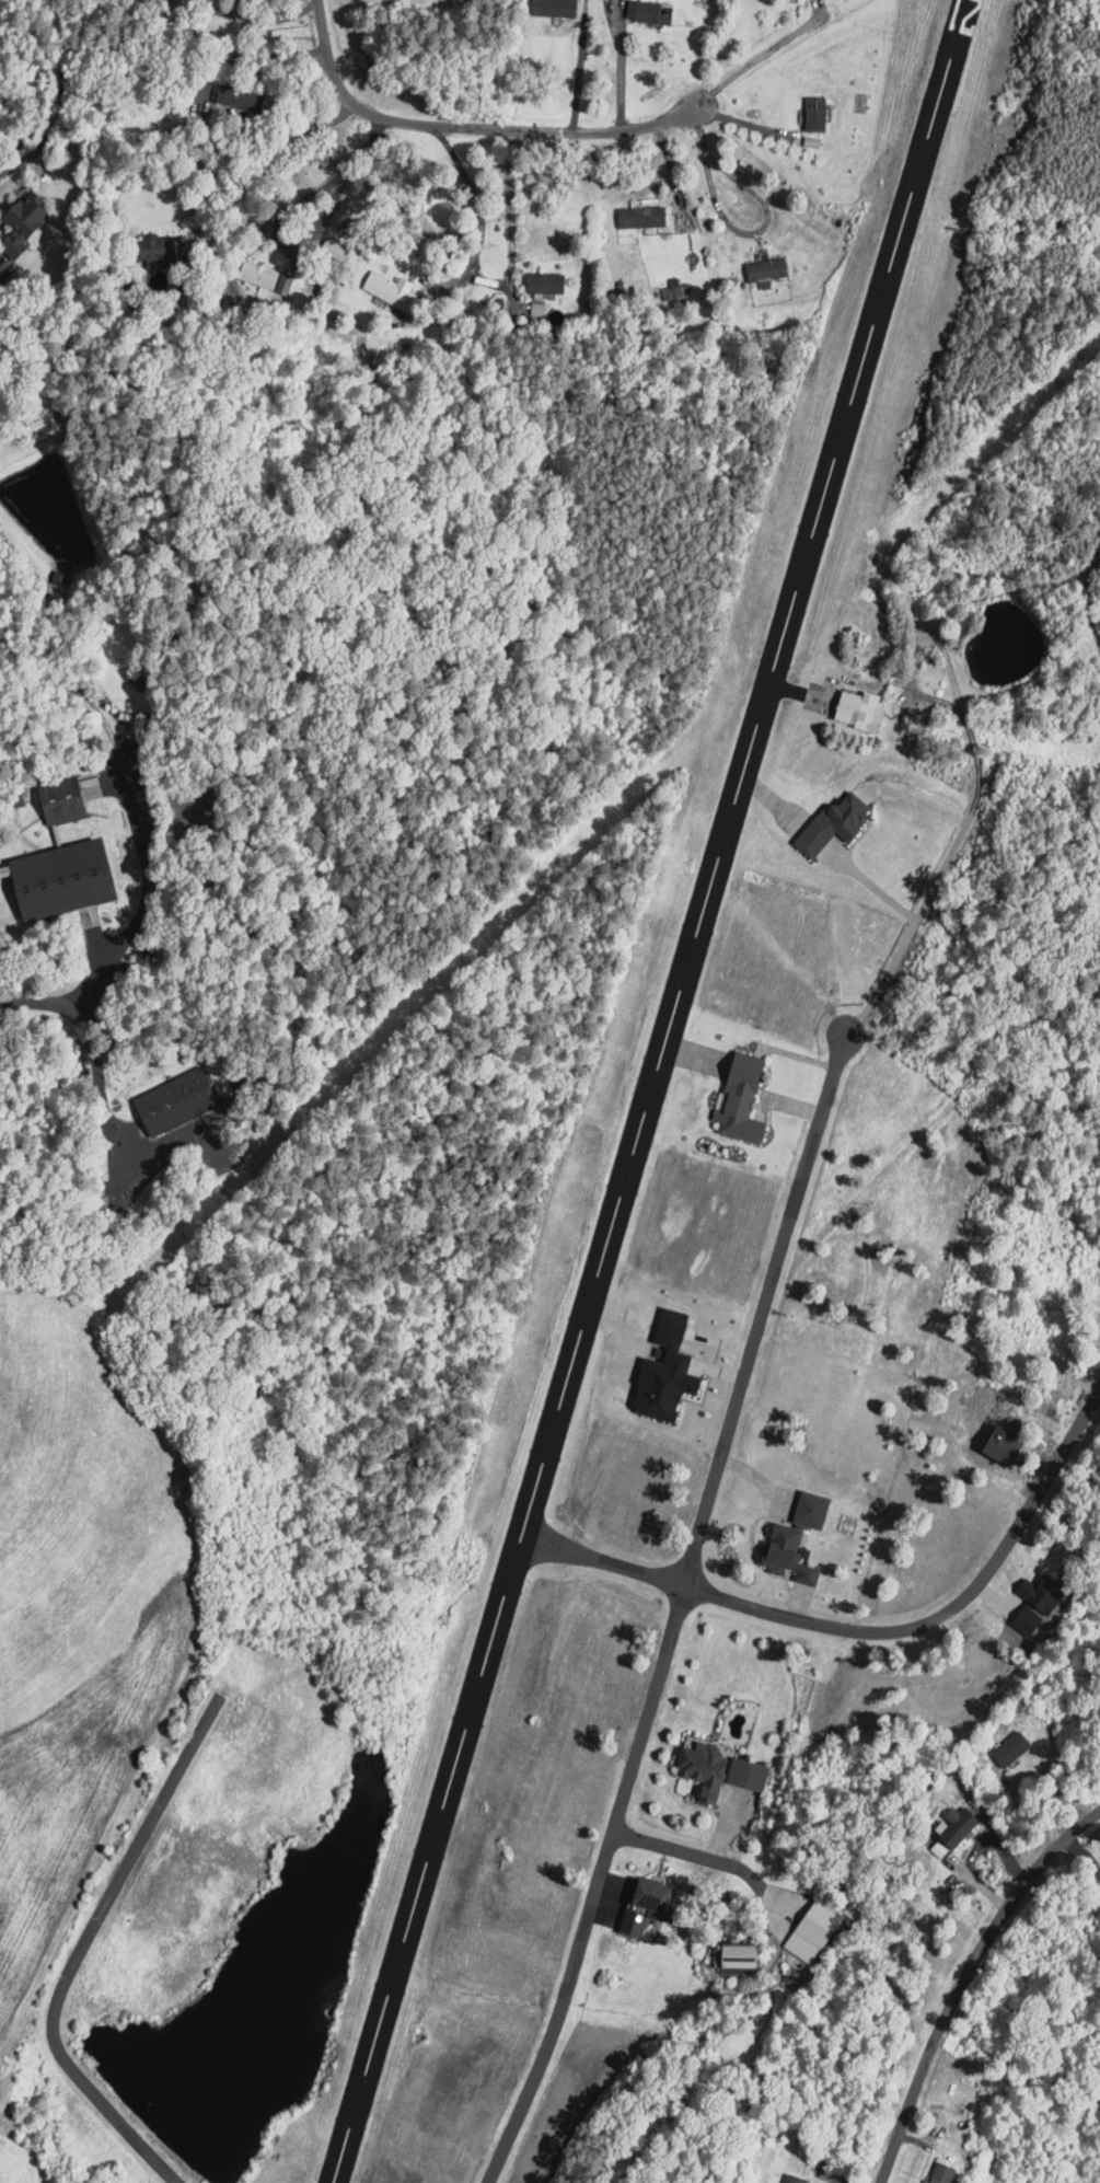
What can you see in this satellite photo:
building: (558, 8)
building: (653, 11)
road: (762, 56)
road: (621, 67)
road: (580, 70)
building: (233, 94)
road: (51, 97)
building: (819, 113)
road: (471, 126)
road: (271, 166)
road: (339, 180)
road: (511, 209)
building: (647, 216)
road: (736, 232)
road: (470, 234)
building: (769, 268)
building: (263, 274)
building: (548, 282)
building: (393, 289)
building: (672, 290)
road: (985, 591)
road: (1080, 609)
building: (862, 709)
road: (972, 739)
building: (73, 792)
building: (838, 822)
building: (73, 870)
road: (934, 883)
road: (872, 886)
road: (125, 928)
road: (100, 934)
airport runway: (653, 1091)
building: (181, 1098)
building: (746, 1098)
road: (106, 1121)
parking lot: (141, 1185)
building: (671, 1368)
building: (1008, 1445)
building: (815, 1509)
building: (795, 1552)
building: (1045, 1593)
road: (675, 1612)
building: (1030, 1619)
road: (875, 1630)
building: (1016, 1748)
building: (722, 1770)
building: (963, 1825)
building: (940, 1849)
road: (694, 1853)
building: (649, 1908)
building: (813, 1931)
road: (79, 1952)
building: (745, 1955)
road: (981, 1987)
building: (945, 2172)
building: (799, 2179)

